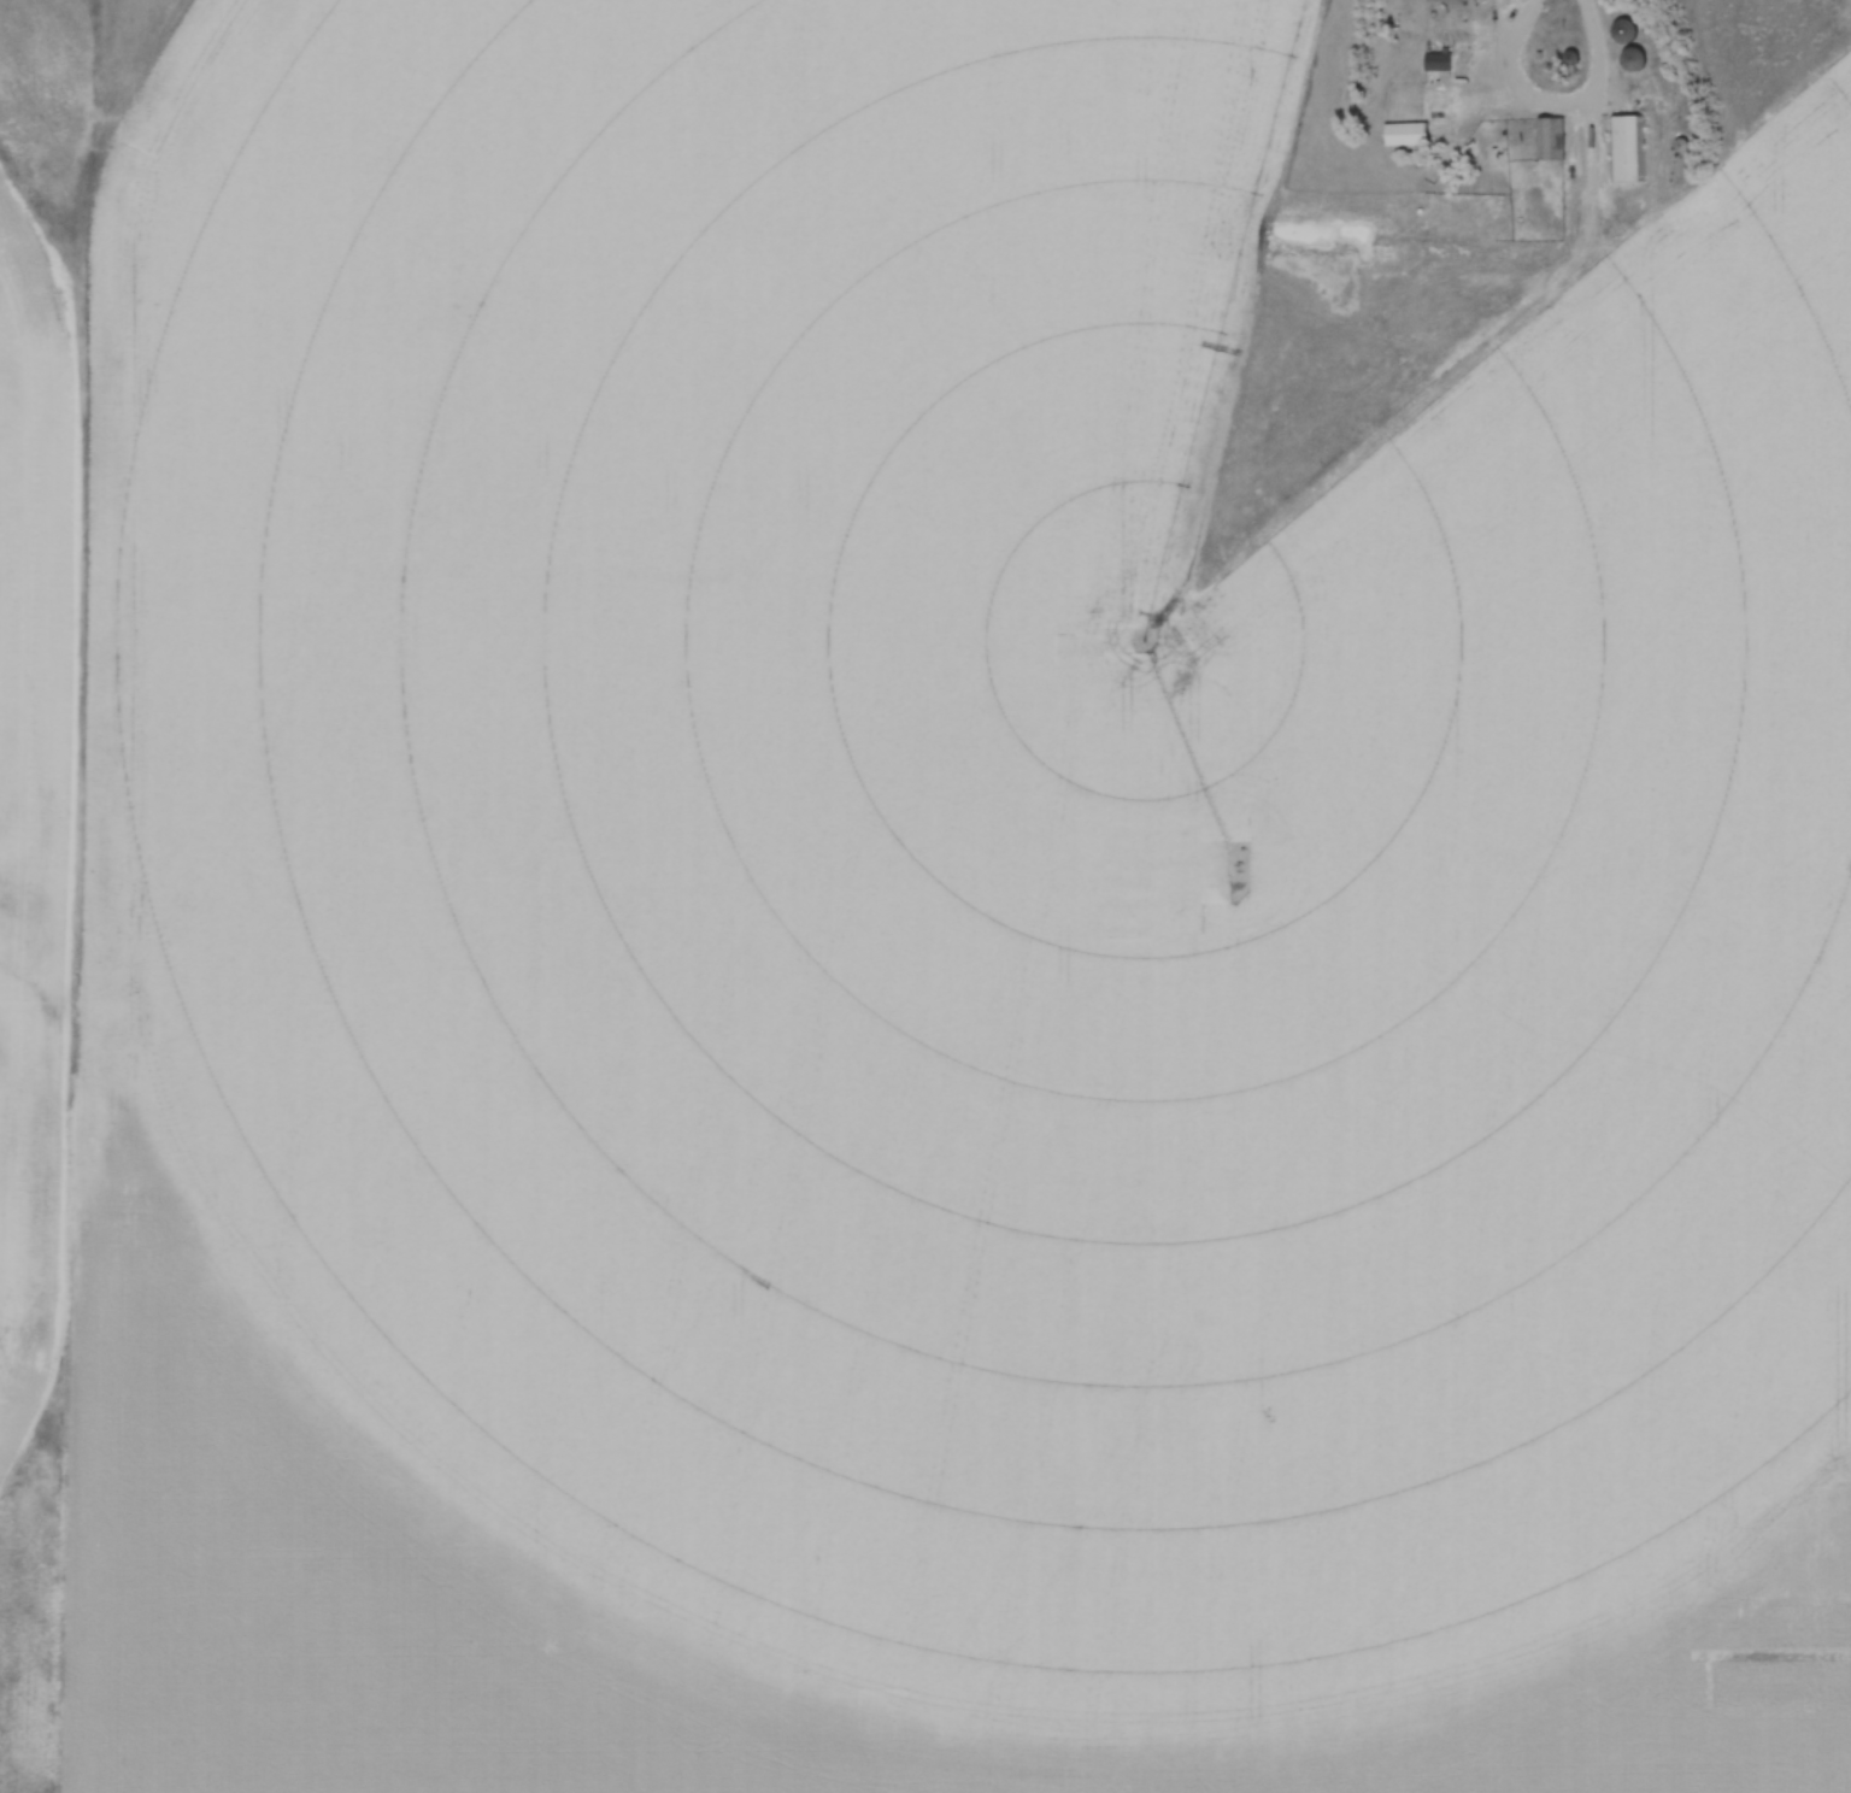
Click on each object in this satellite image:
building: (1626, 34)
building: (1634, 61)
building: (1439, 65)
building: (1409, 95)
road: (1555, 104)
building: (1405, 137)
building: (1551, 142)
building: (1626, 151)

